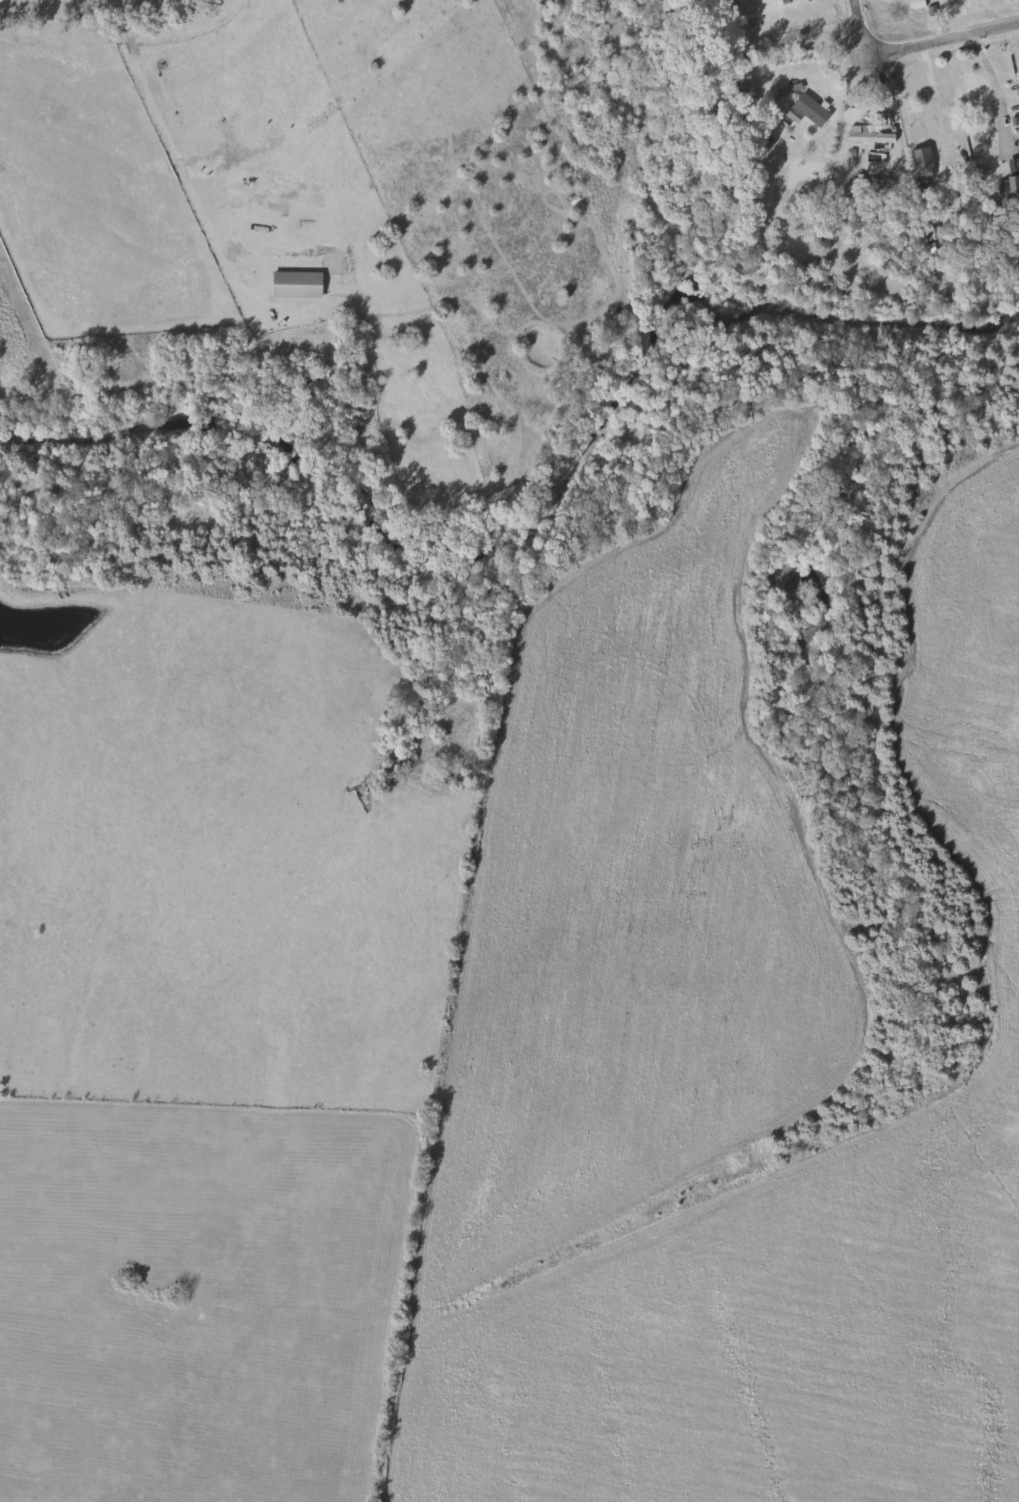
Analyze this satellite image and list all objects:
road: (916, 47)
road: (830, 78)
road: (999, 84)
building: (991, 91)
building: (811, 108)
building: (931, 110)
building: (870, 133)
building: (299, 283)

